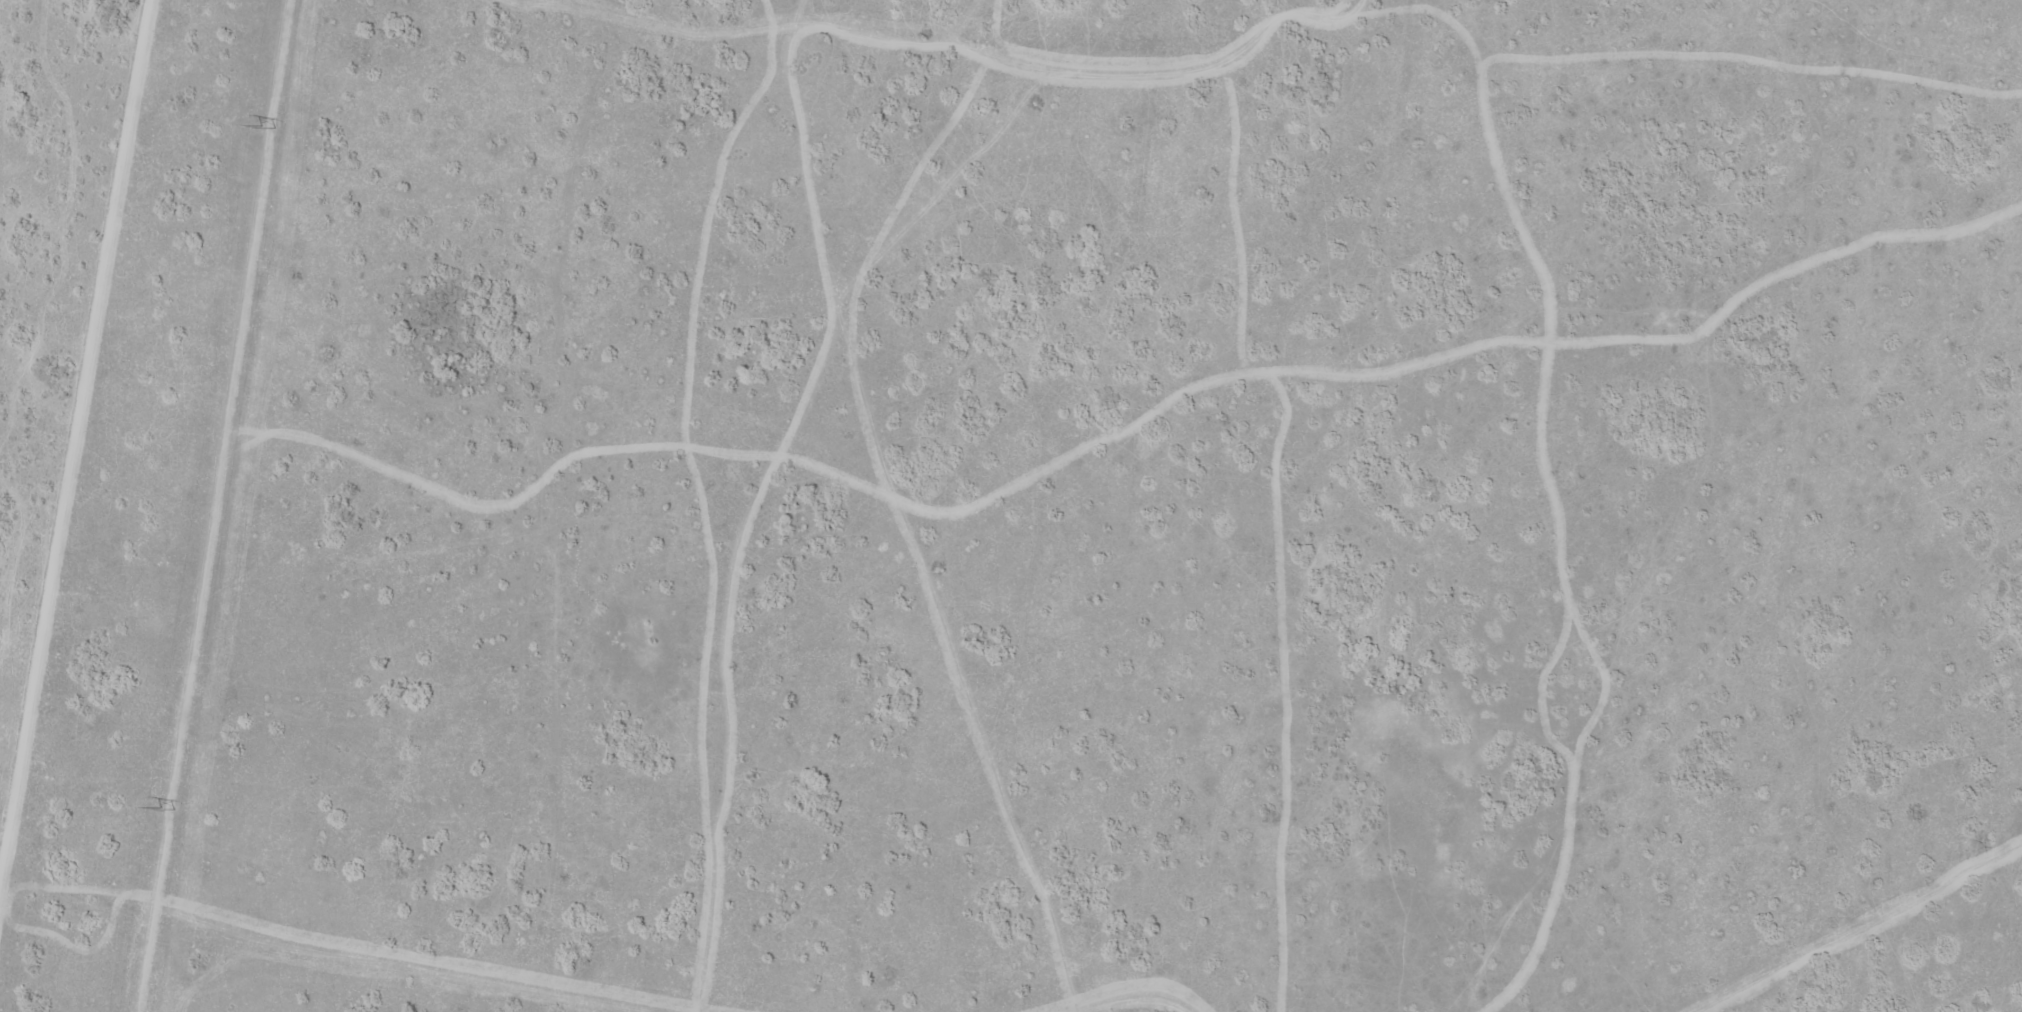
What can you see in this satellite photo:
power tower: (264, 126)
power tower: (164, 809)

